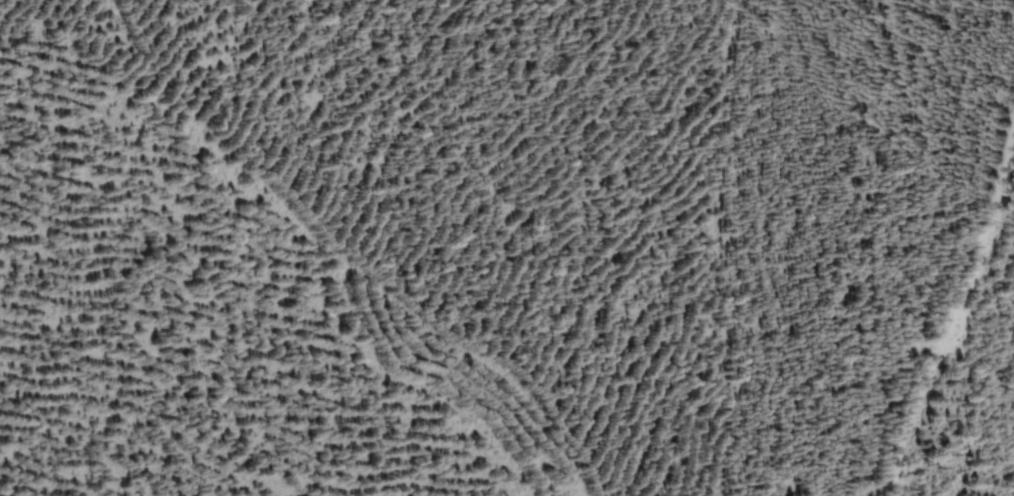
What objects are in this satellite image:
road: (967, 346)

